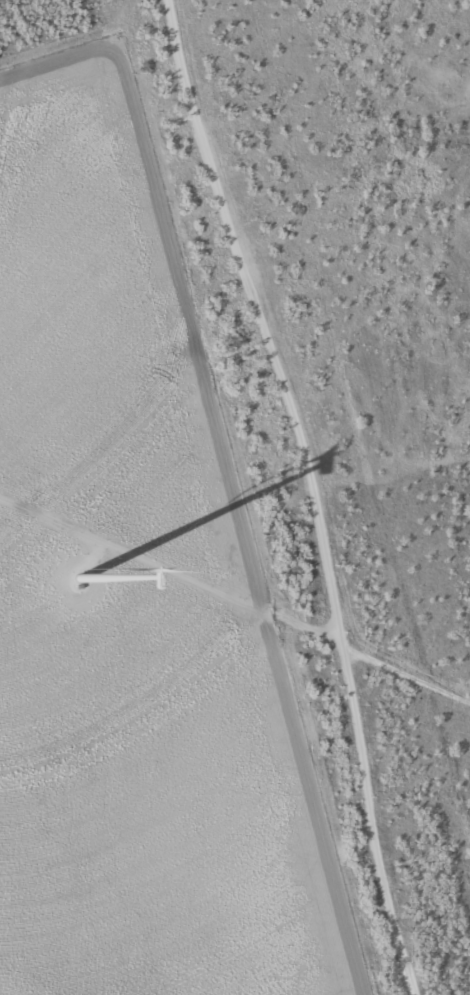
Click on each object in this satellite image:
road: (299, 494)
wind turbine: (75, 590)

